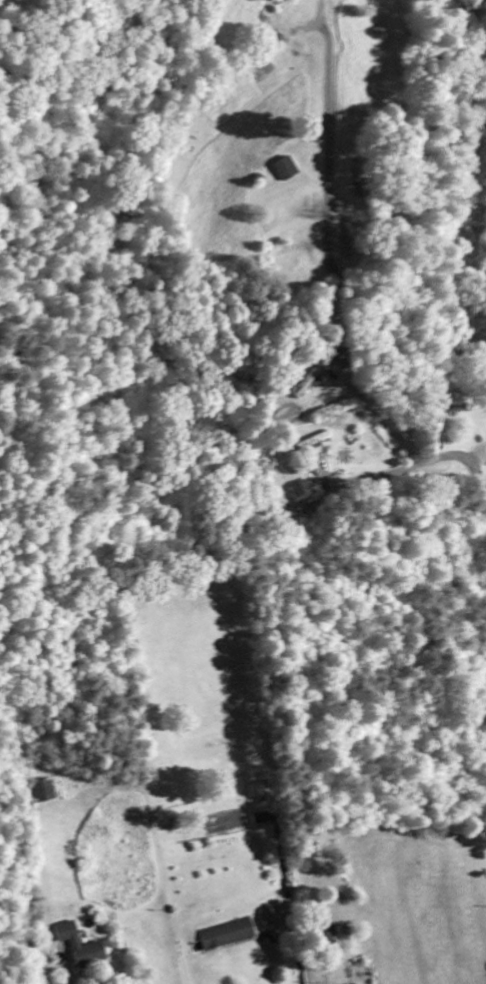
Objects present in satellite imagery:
building: (286, 171)
building: (307, 382)
road: (470, 466)
building: (302, 496)
building: (257, 792)
building: (41, 793)
building: (226, 936)
building: (79, 946)

